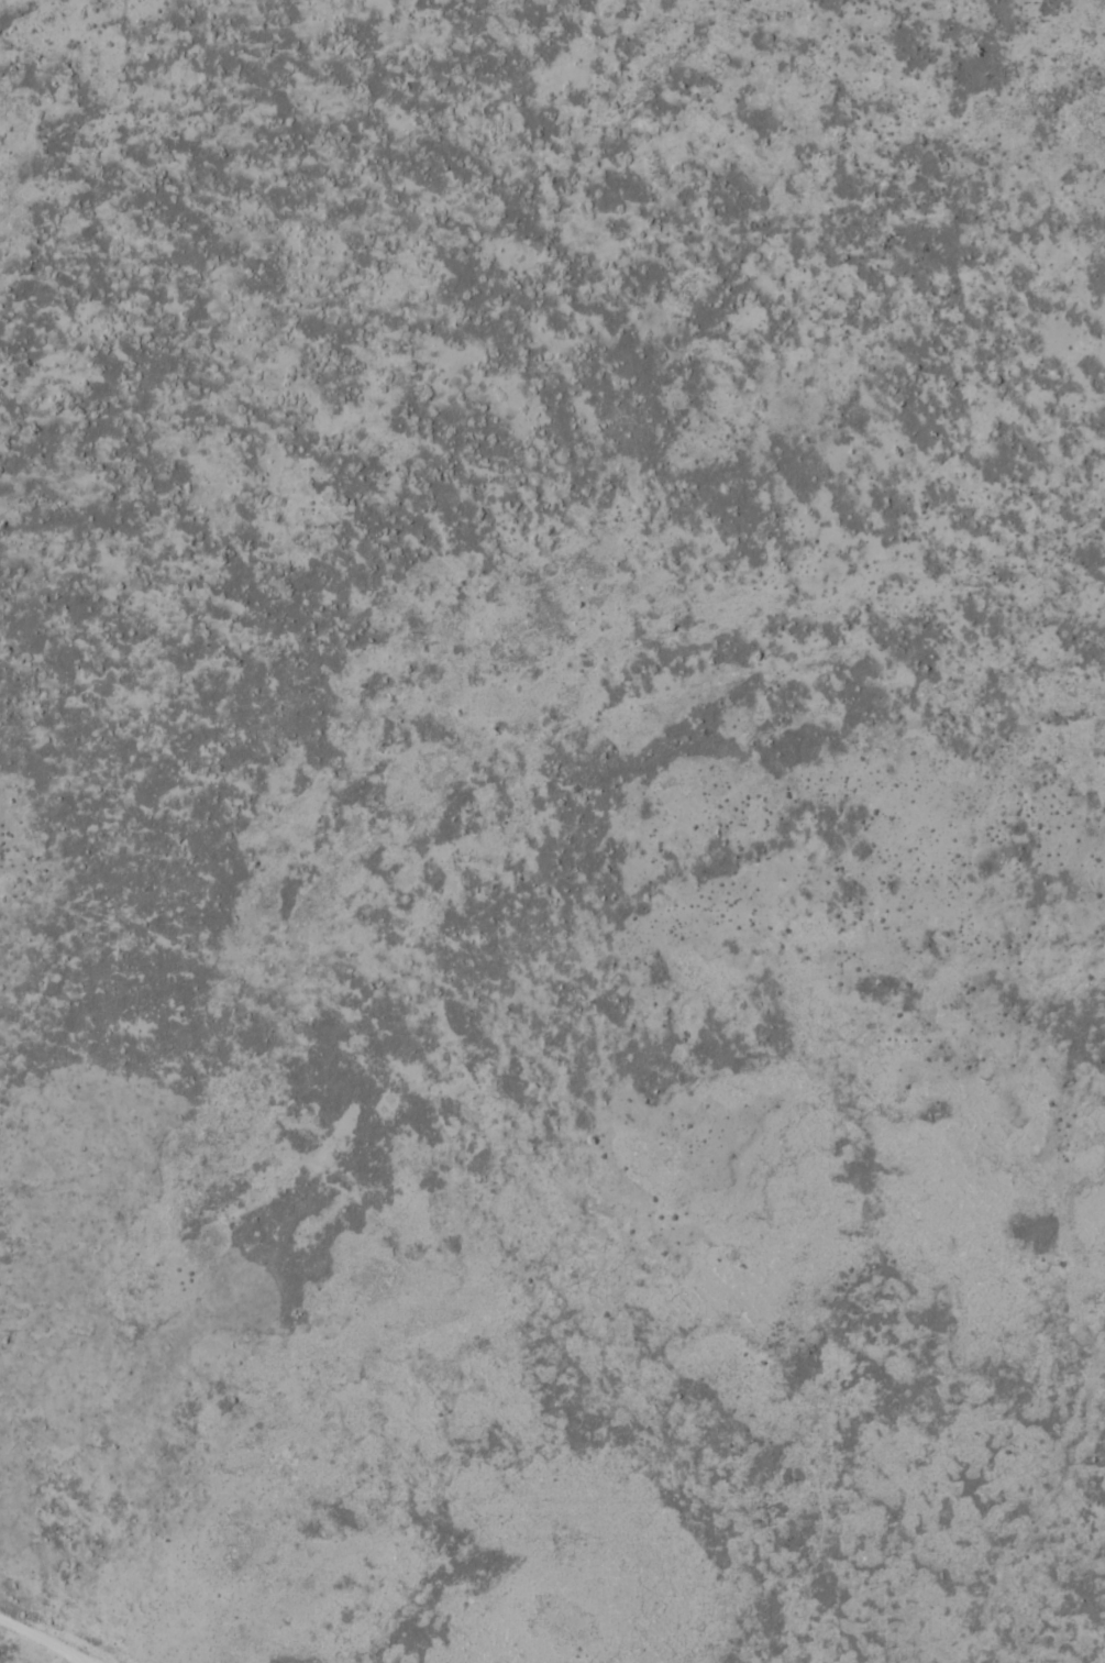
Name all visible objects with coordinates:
road: (40, 1644)

